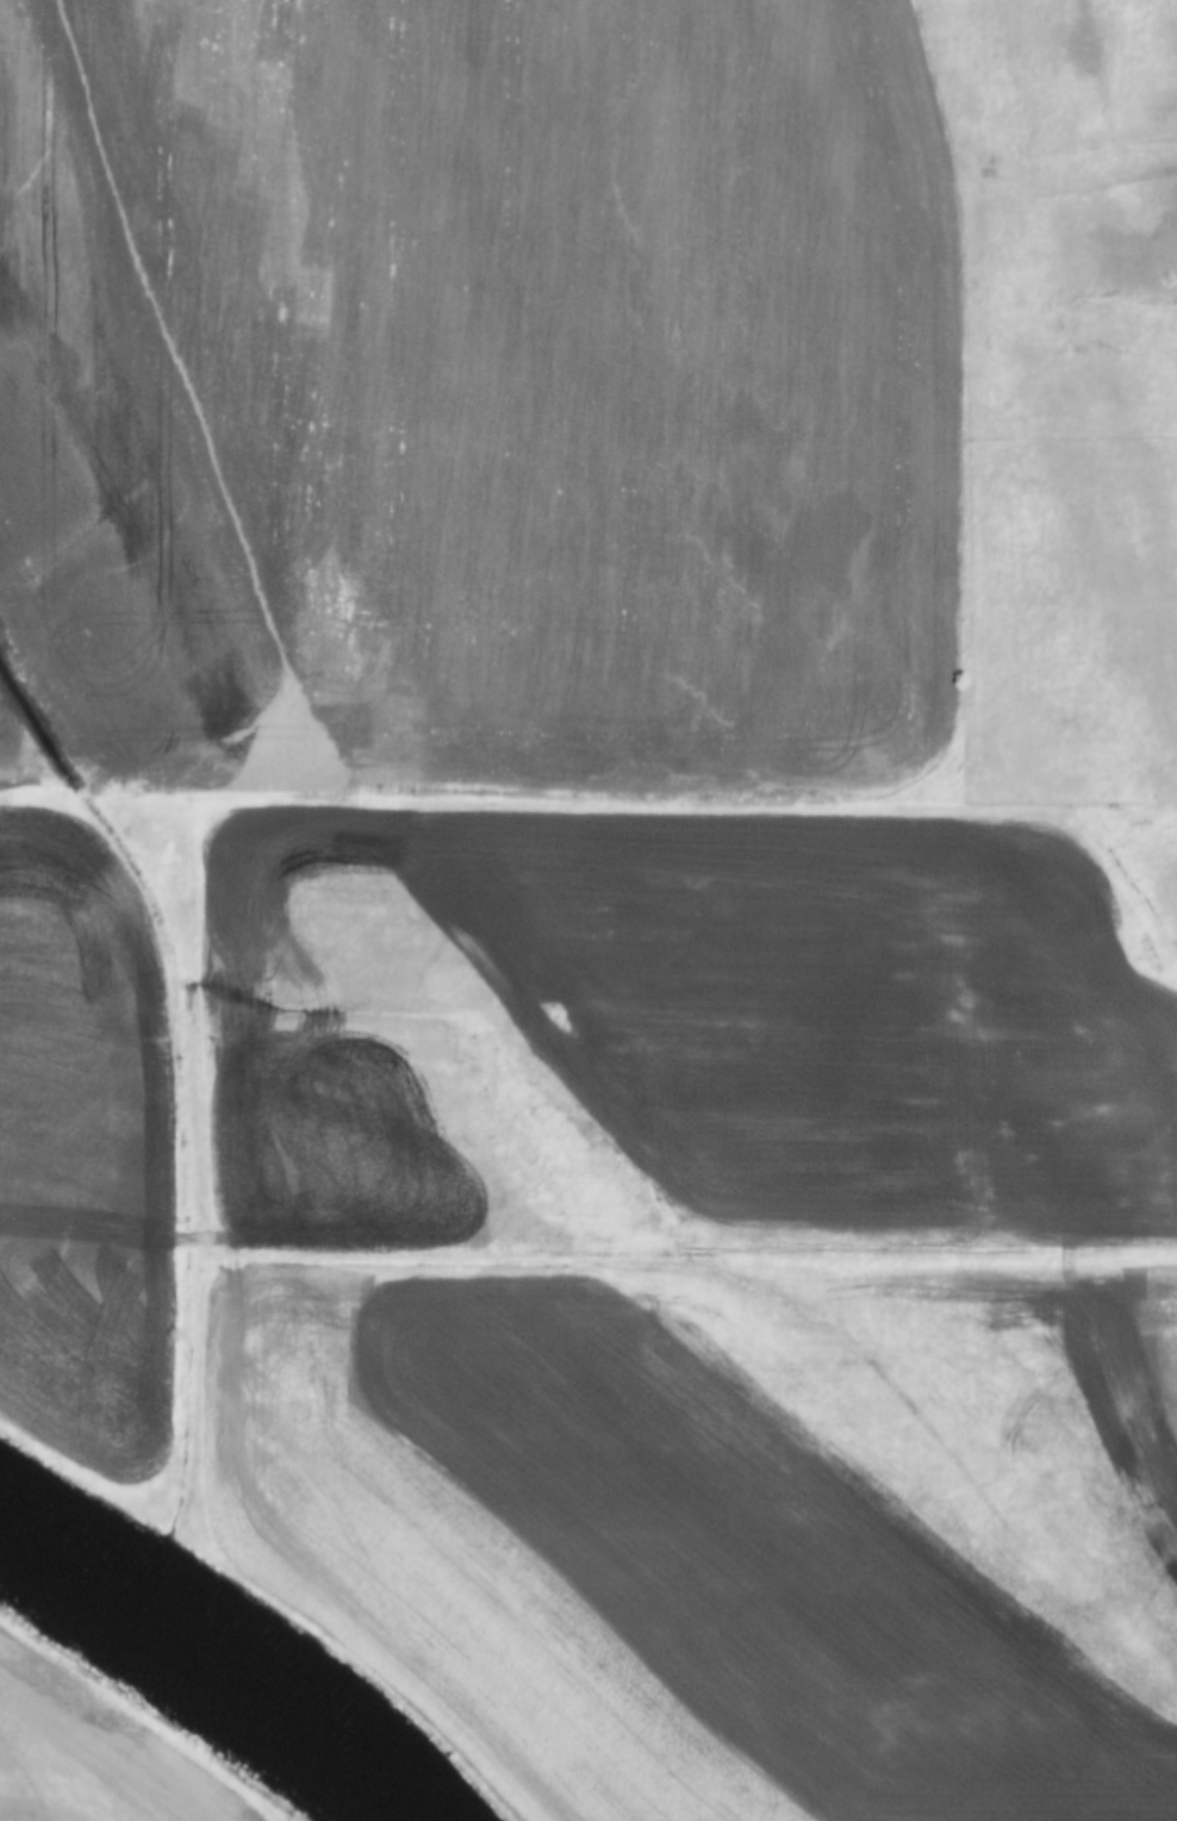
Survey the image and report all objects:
river: (212, 1653)

